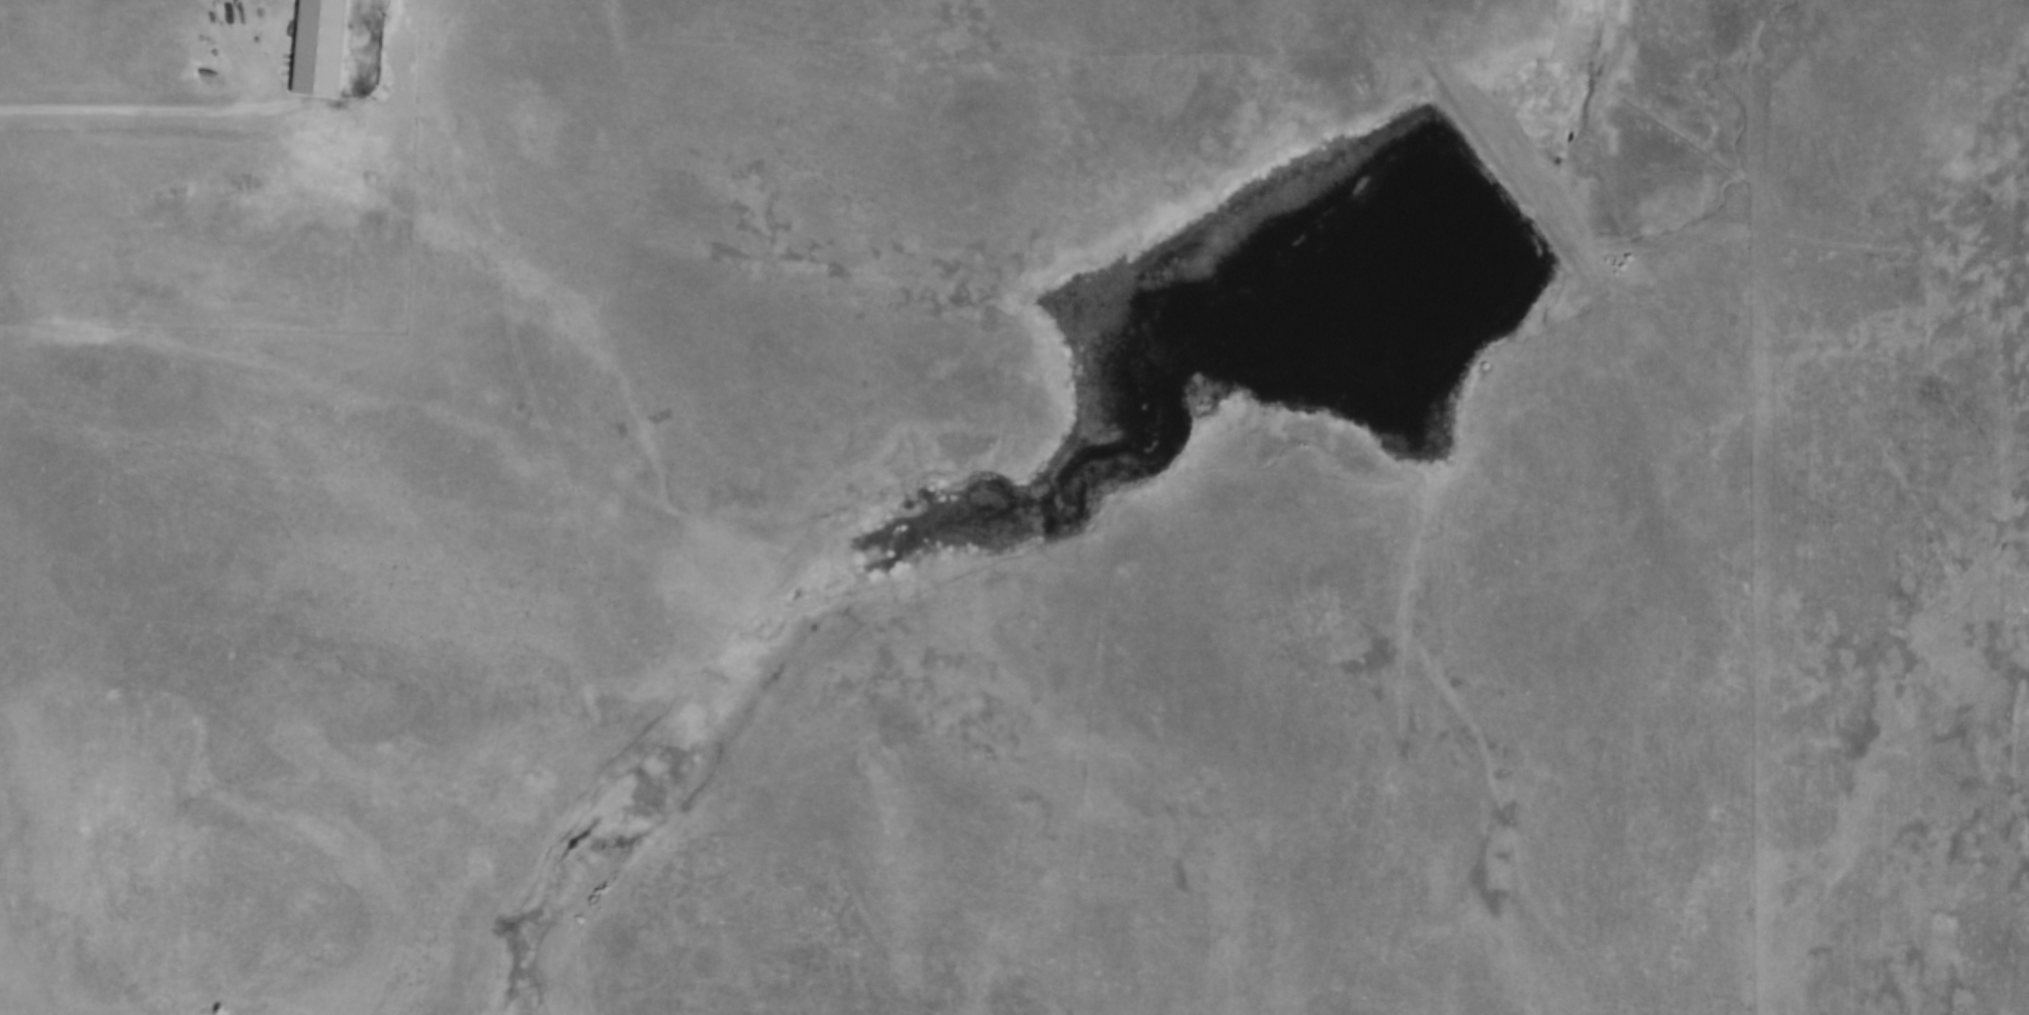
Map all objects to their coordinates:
road: (214, 112)
quarry: (193, 868)
road: (112, 904)

